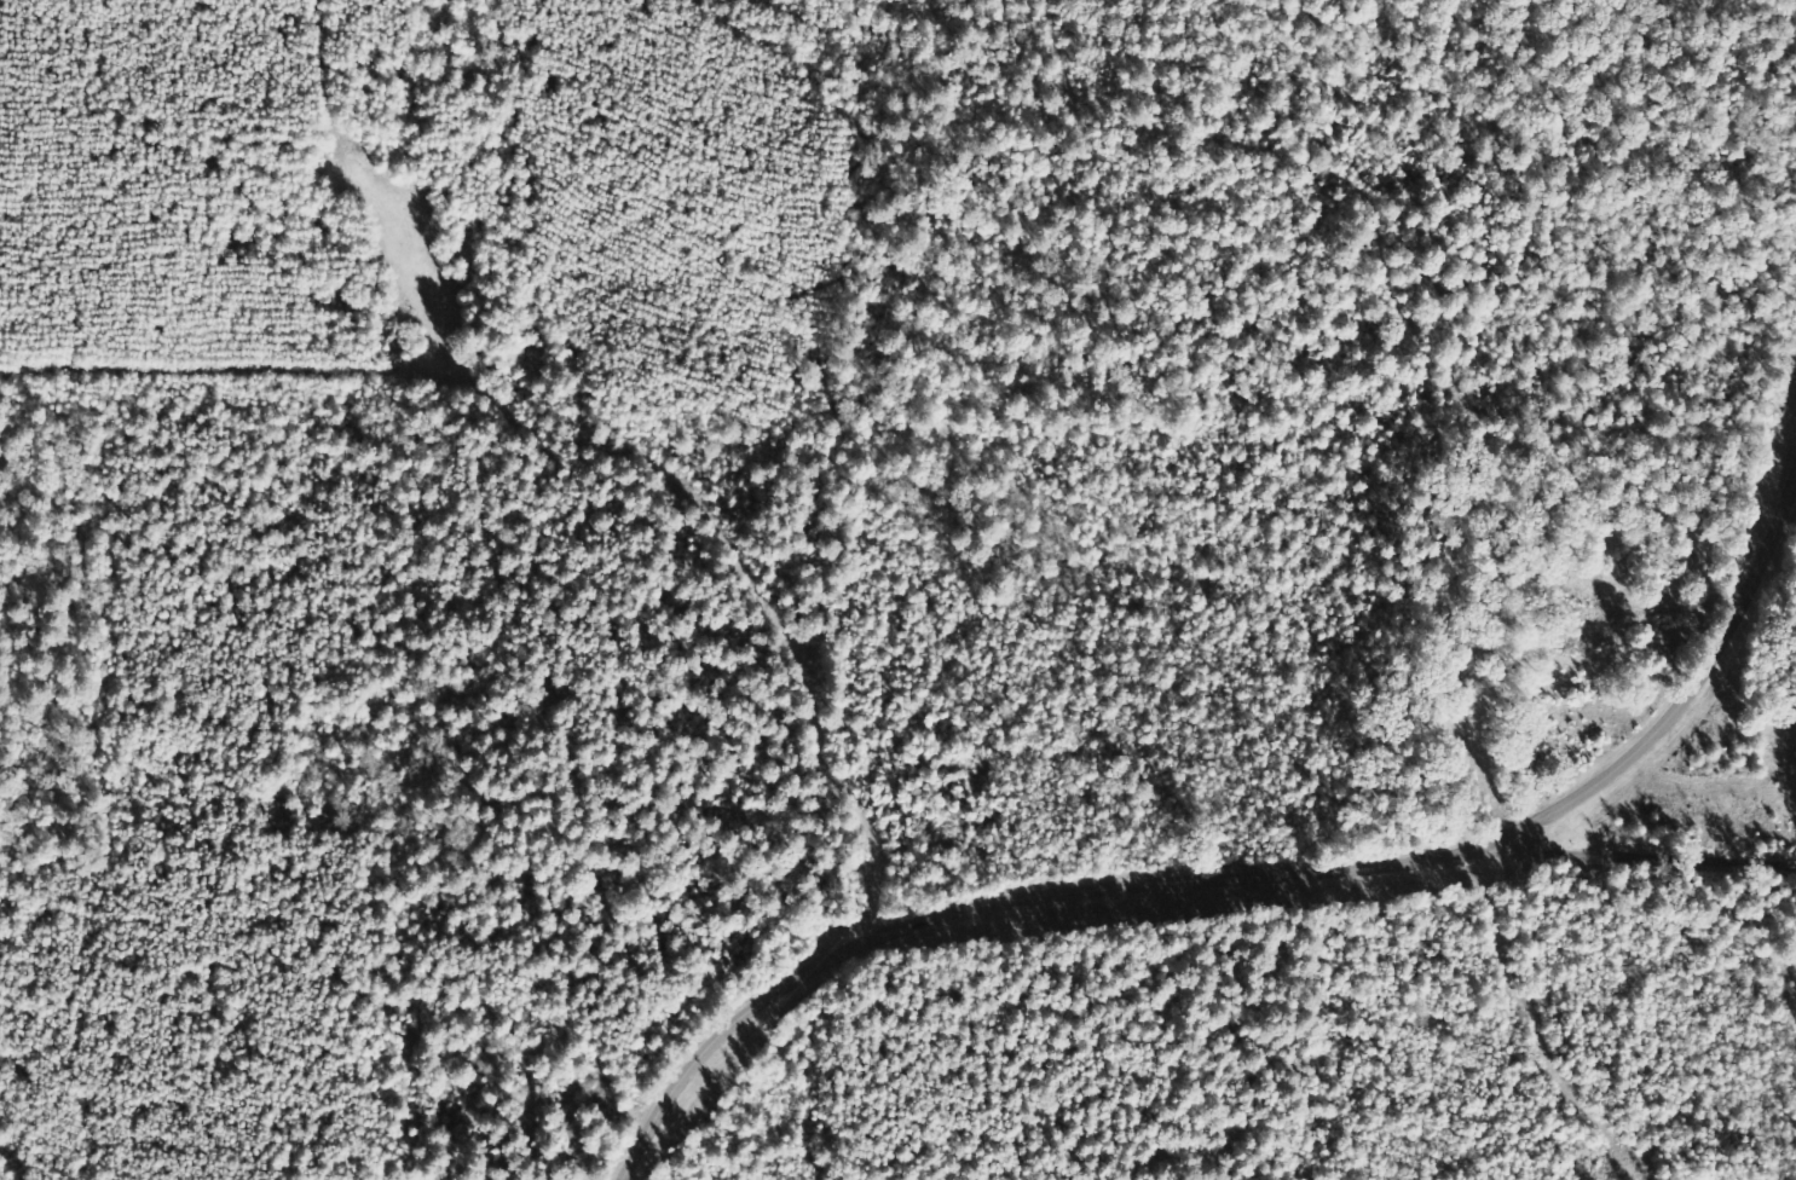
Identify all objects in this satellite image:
road: (1228, 861)
road: (1681, 890)

